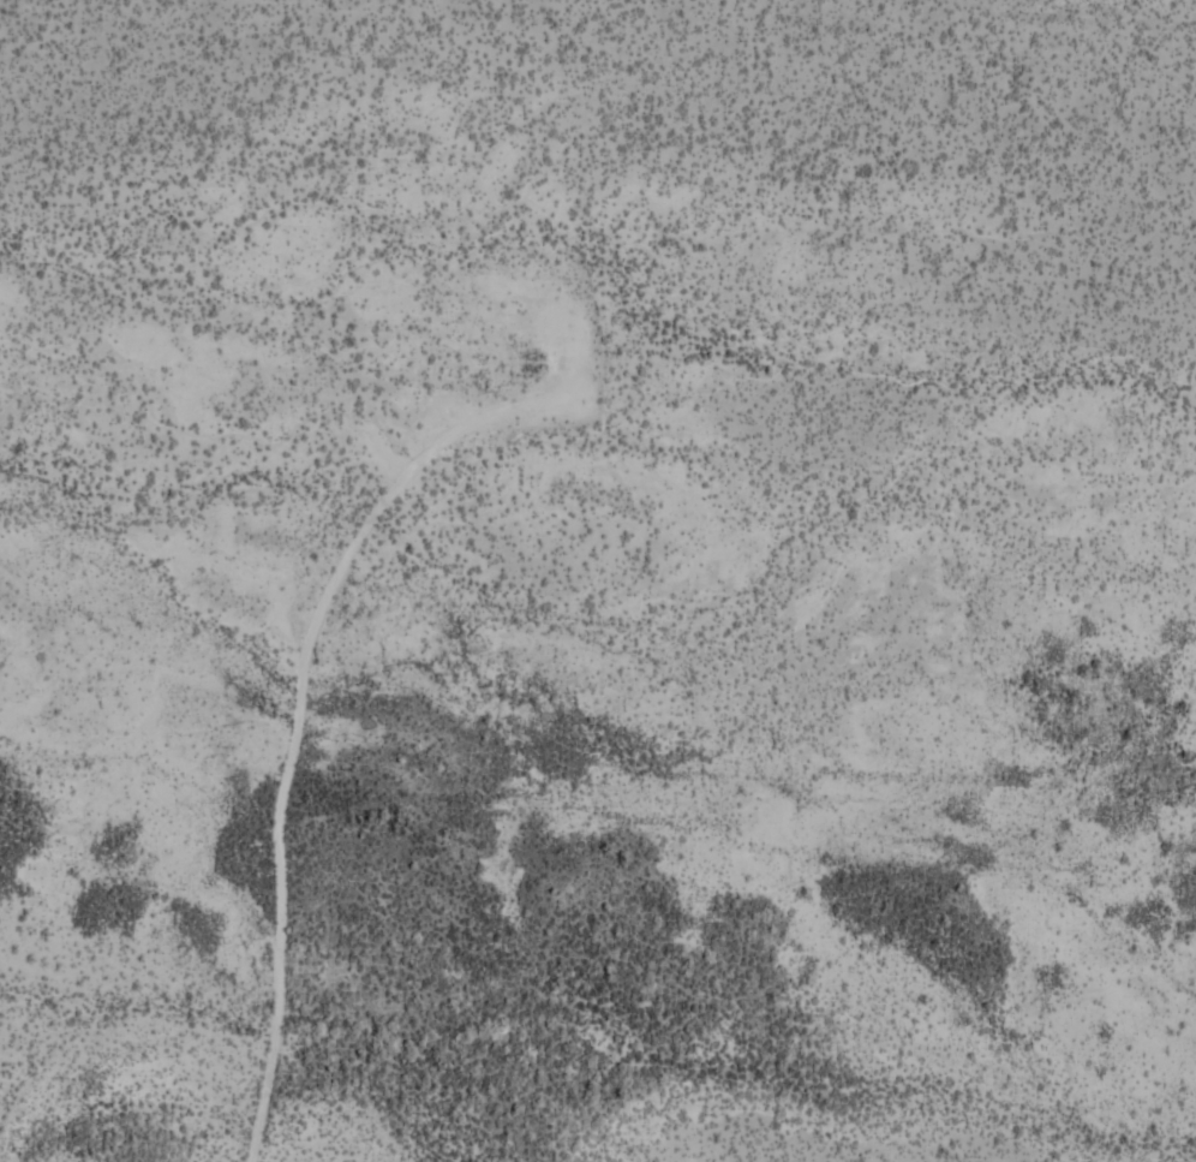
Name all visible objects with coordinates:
building: (295, 25)
building: (399, 91)

